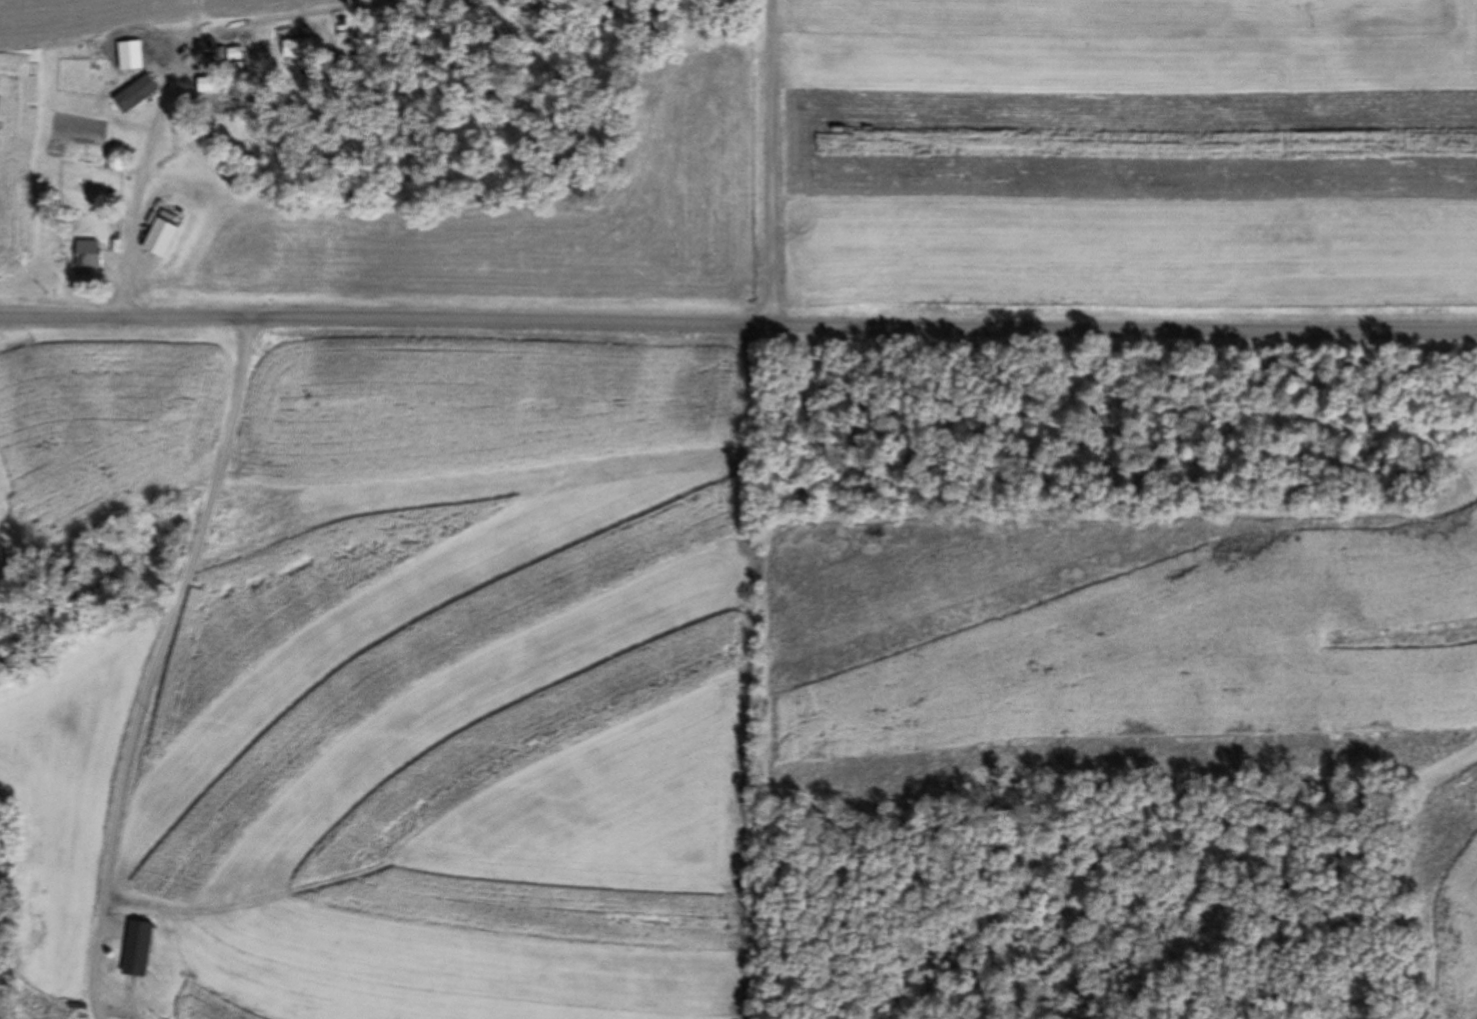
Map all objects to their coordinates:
road: (772, 161)
building: (159, 238)
building: (88, 256)
road: (738, 321)
road: (164, 635)
building: (136, 949)

